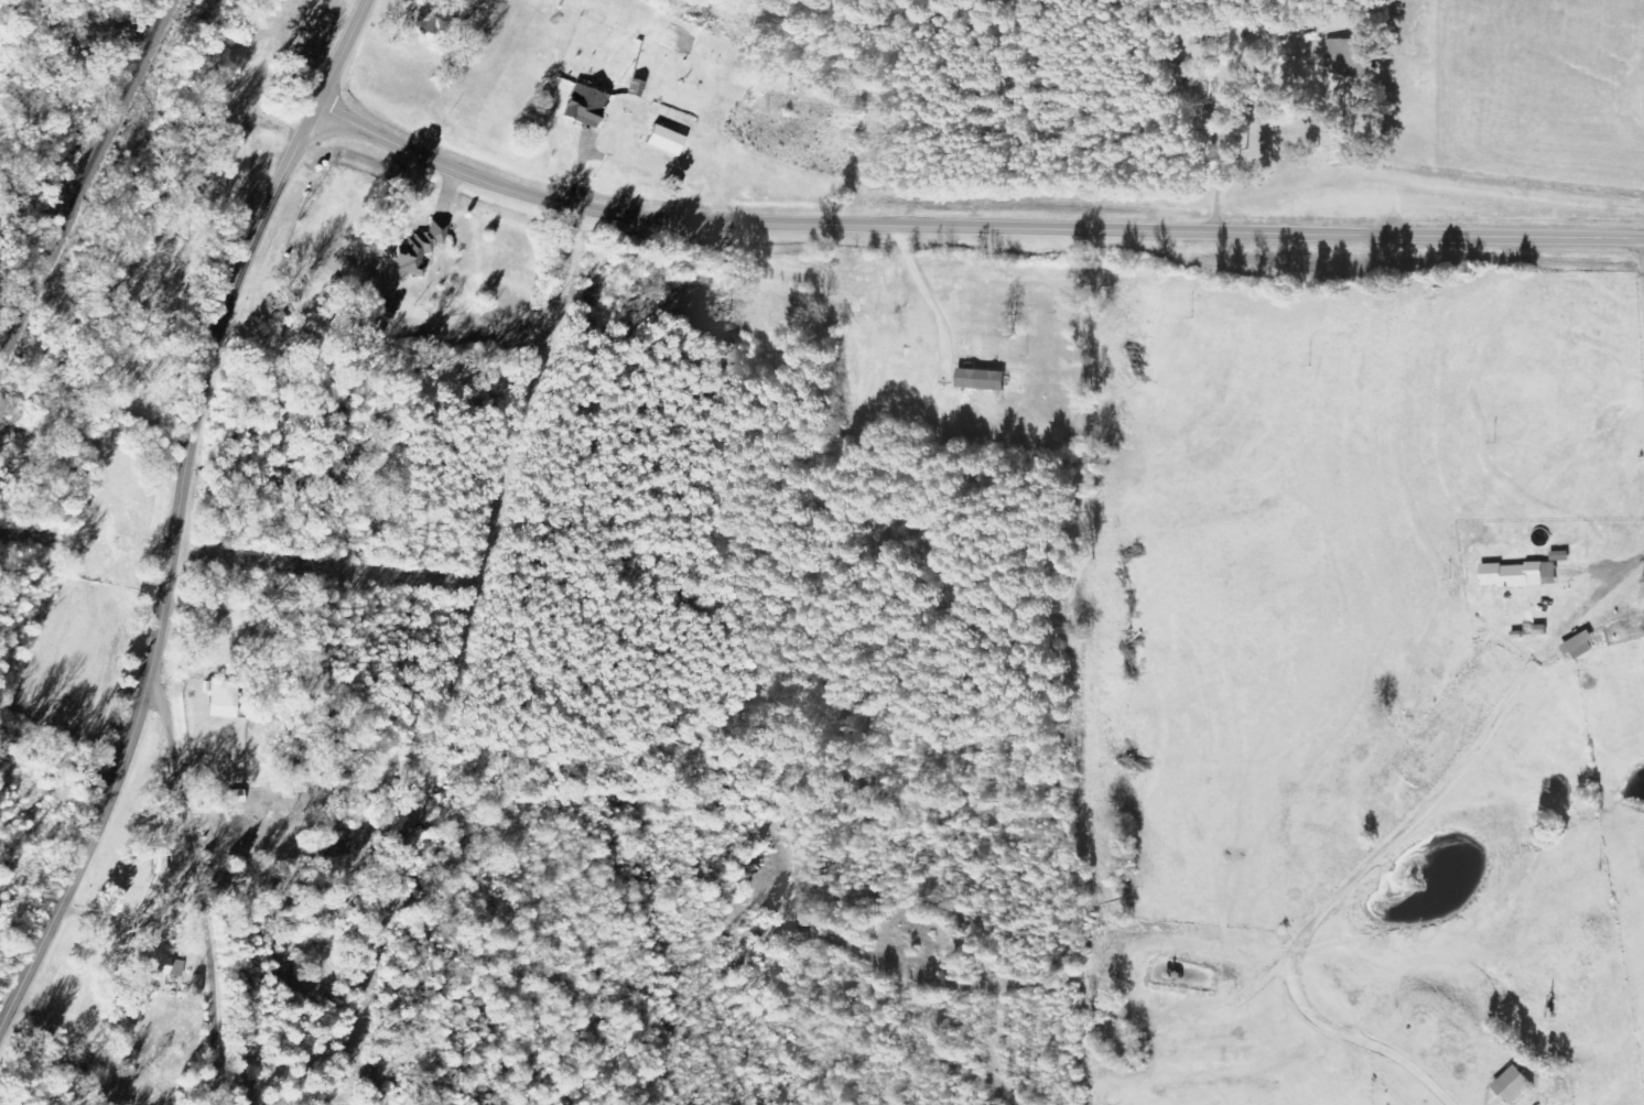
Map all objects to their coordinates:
road: (344, 52)
building: (1344, 59)
road: (1106, 96)
building: (582, 106)
building: (661, 140)
railway: (86, 178)
road: (970, 226)
building: (423, 248)
road: (1641, 266)
road: (927, 301)
building: (978, 380)
road: (172, 574)
building: (1516, 575)
building: (1577, 646)
road: (1386, 839)
road: (165, 887)
building: (154, 962)
building: (1510, 1086)

